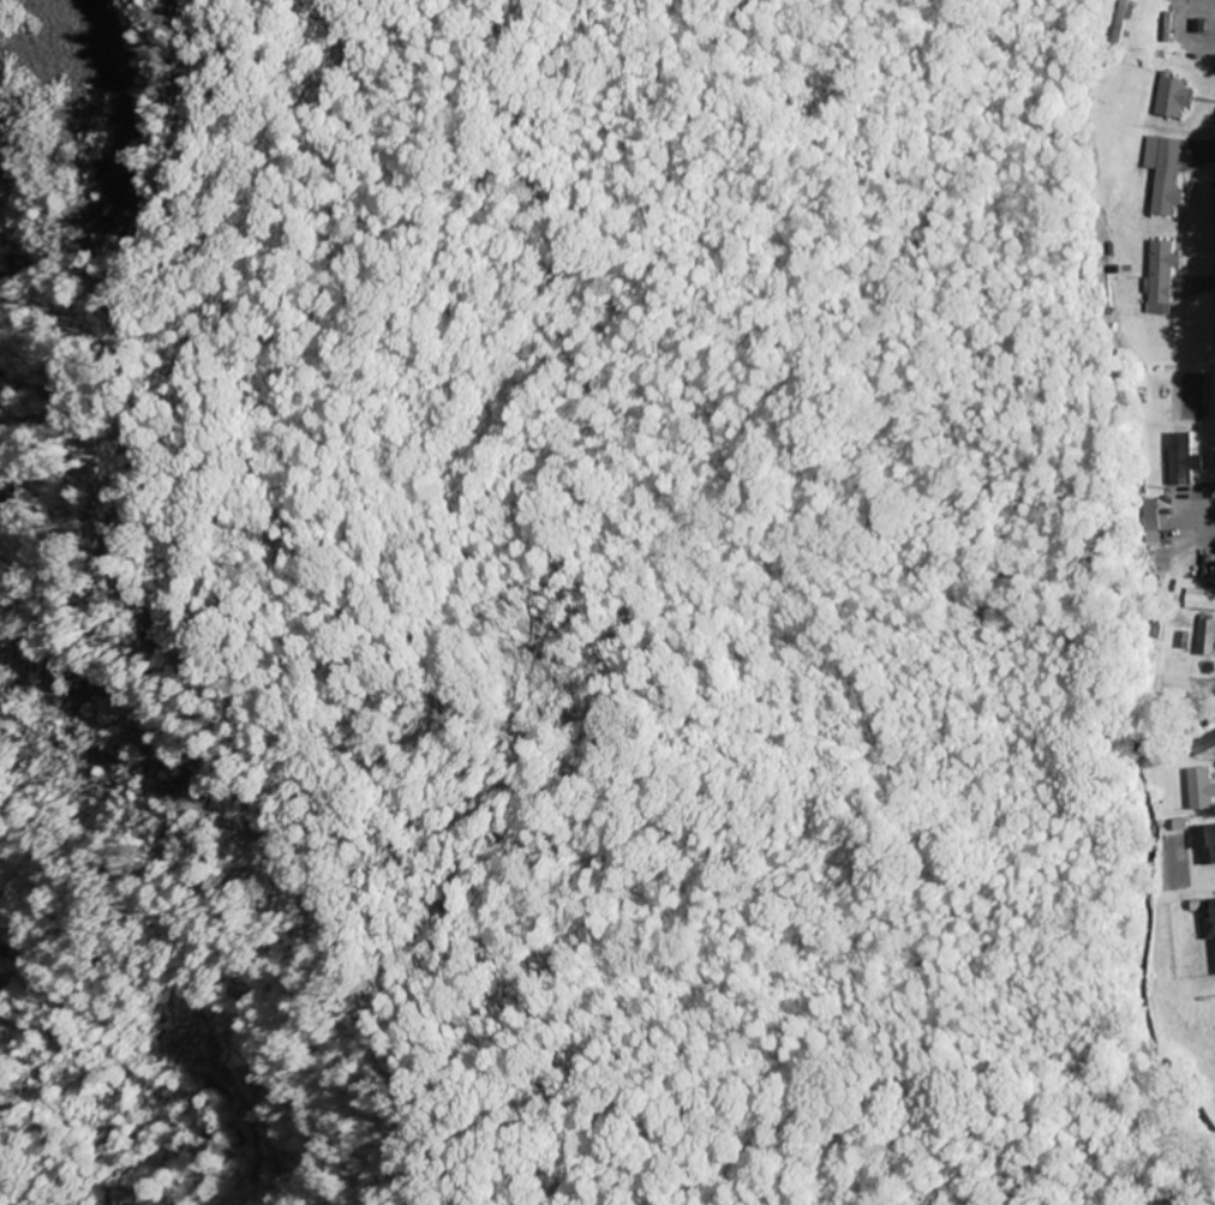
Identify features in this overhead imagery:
building: (1178, 0)
building: (1121, 20)
building: (1173, 100)
building: (1165, 175)
building: (1162, 277)
building: (1180, 349)
building: (1181, 460)
building: (1150, 516)
building: (1209, 571)
building: (1201, 600)
building: (1207, 637)
building: (1204, 747)
building: (1202, 789)
building: (1205, 846)
building: (1210, 928)

